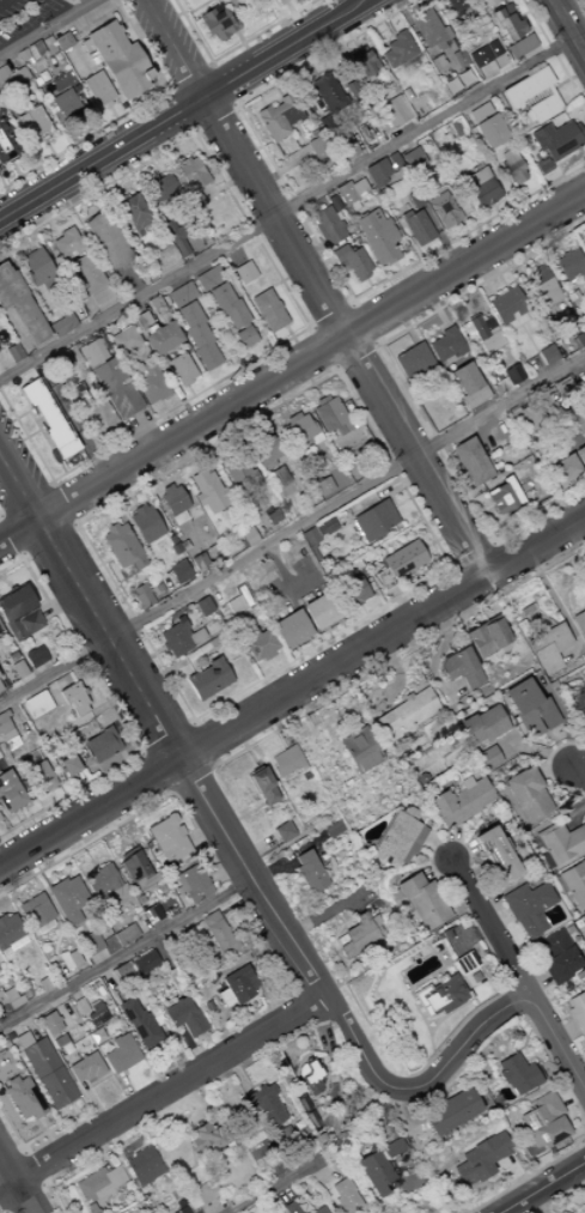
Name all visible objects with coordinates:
building: (68, 0)
building: (278, 1)
road: (554, 1)
road: (5, 2)
road: (282, 2)
building: (487, 2)
building: (455, 4)
road: (581, 4)
road: (584, 4)
building: (506, 8)
road: (401, 11)
parking lot: (23, 14)
building: (214, 23)
building: (506, 23)
road: (343, 26)
road: (386, 26)
building: (428, 26)
road: (49, 28)
road: (370, 28)
road: (567, 29)
road: (238, 37)
road: (336, 40)
building: (61, 41)
road: (353, 42)
building: (519, 47)
road: (171, 48)
road: (282, 48)
road: (230, 49)
building: (397, 49)
building: (33, 50)
road: (553, 54)
building: (20, 55)
building: (487, 60)
building: (118, 61)
building: (361, 61)
road: (209, 62)
road: (310, 71)
road: (185, 75)
road: (575, 75)
building: (11, 78)
road: (249, 83)
road: (559, 83)
building: (17, 87)
building: (95, 89)
building: (351, 89)
building: (327, 92)
building: (532, 95)
road: (24, 99)
road: (258, 99)
building: (105, 104)
building: (61, 107)
road: (177, 110)
building: (0, 113)
road: (111, 113)
building: (480, 113)
building: (391, 114)
building: (276, 116)
road: (213, 117)
road: (93, 119)
building: (32, 125)
road: (583, 127)
building: (456, 128)
building: (489, 131)
road: (167, 133)
building: (556, 139)
road: (264, 142)
building: (7, 145)
building: (316, 145)
building: (347, 147)
road: (177, 151)
road: (248, 152)
road: (99, 157)
building: (391, 159)
building: (412, 159)
road: (557, 162)
building: (512, 166)
road: (14, 169)
road: (281, 170)
building: (377, 172)
road: (106, 174)
building: (189, 174)
road: (552, 182)
road: (224, 184)
building: (481, 187)
building: (159, 189)
building: (351, 190)
road: (519, 190)
road: (62, 195)
building: (195, 201)
building: (414, 201)
building: (333, 202)
road: (292, 204)
building: (444, 208)
road: (494, 208)
road: (530, 208)
road: (39, 210)
building: (130, 211)
road: (73, 213)
building: (404, 214)
road: (14, 224)
building: (327, 225)
road: (504, 225)
road: (462, 226)
building: (418, 228)
road: (51, 229)
road: (310, 230)
building: (377, 237)
building: (173, 238)
building: (104, 239)
road: (523, 242)
road: (25, 243)
building: (65, 243)
road: (471, 243)
road: (559, 245)
road: (514, 248)
road: (418, 250)
road: (446, 250)
road: (506, 253)
building: (162, 257)
building: (352, 261)
road: (490, 262)
road: (396, 266)
road: (525, 266)
building: (571, 266)
road: (316, 267)
road: (477, 269)
building: (39, 272)
building: (244, 272)
road: (292, 275)
building: (208, 278)
building: (90, 279)
road: (501, 280)
road: (130, 281)
road: (368, 283)
road: (406, 283)
road: (452, 285)
building: (542, 285)
road: (195, 287)
road: (488, 289)
building: (181, 295)
building: (577, 303)
building: (154, 304)
road: (295, 305)
building: (506, 305)
building: (19, 307)
road: (280, 307)
road: (434, 307)
road: (465, 307)
road: (87, 310)
building: (267, 310)
road: (382, 311)
building: (232, 314)
road: (330, 314)
road: (218, 317)
road: (116, 321)
building: (516, 321)
building: (140, 322)
road: (211, 322)
road: (365, 322)
building: (61, 323)
road: (403, 323)
building: (467, 329)
road: (97, 330)
road: (18, 334)
building: (485, 334)
building: (197, 335)
road: (343, 335)
building: (159, 338)
building: (580, 338)
building: (123, 339)
building: (446, 346)
road: (475, 346)
road: (532, 346)
road: (258, 347)
road: (298, 348)
road: (321, 348)
building: (95, 350)
building: (495, 351)
building: (13, 352)
building: (547, 354)
road: (236, 357)
road: (357, 358)
building: (61, 360)
building: (413, 360)
road: (581, 362)
road: (5, 366)
building: (181, 369)
road: (536, 369)
road: (334, 371)
road: (305, 372)
building: (512, 374)
building: (464, 378)
building: (148, 381)
road: (401, 384)
building: (562, 386)
building: (116, 387)
road: (189, 390)
road: (275, 390)
road: (316, 390)
road: (179, 396)
building: (475, 396)
building: (321, 400)
road: (164, 406)
road: (286, 408)
building: (44, 412)
road: (22, 414)
building: (331, 417)
building: (291, 418)
road: (7, 421)
road: (173, 421)
road: (35, 424)
building: (581, 429)
building: (301, 432)
road: (83, 438)
road: (162, 443)
road: (13, 444)
road: (185, 444)
building: (63, 449)
building: (262, 449)
building: (580, 455)
building: (470, 462)
road: (578, 462)
road: (196, 463)
road: (152, 465)
building: (268, 466)
road: (61, 467)
building: (561, 471)
building: (238, 472)
road: (458, 474)
building: (278, 478)
road: (162, 480)
road: (462, 480)
road: (91, 485)
building: (323, 486)
building: (285, 490)
building: (208, 491)
road: (383, 491)
road: (420, 491)
road: (388, 493)
road: (25, 497)
building: (504, 497)
road: (95, 499)
building: (172, 499)
road: (65, 502)
road: (392, 503)
road: (400, 503)
road: (293, 504)
road: (485, 509)
building: (270, 516)
building: (178, 517)
road: (105, 518)
building: (373, 521)
building: (145, 523)
building: (327, 526)
road: (353, 527)
road: (292, 528)
road: (18, 530)
building: (318, 530)
road: (445, 534)
building: (248, 536)
road: (328, 536)
building: (309, 538)
road: (10, 541)
road: (49, 542)
road: (574, 544)
building: (120, 545)
road: (427, 545)
road: (420, 547)
building: (215, 553)
road: (470, 553)
building: (401, 559)
road: (105, 560)
building: (199, 563)
road: (279, 568)
road: (86, 572)
building: (178, 572)
building: (382, 580)
road: (5, 583)
road: (288, 593)
building: (351, 593)
building: (141, 596)
road: (59, 602)
road: (400, 604)
building: (202, 606)
building: (236, 606)
building: (321, 609)
road: (362, 611)
building: (19, 613)
road: (341, 624)
building: (579, 624)
road: (372, 627)
building: (290, 629)
building: (1, 632)
road: (327, 632)
building: (195, 636)
road: (380, 637)
building: (487, 637)
building: (175, 638)
building: (244, 639)
road: (351, 641)
road: (309, 643)
building: (260, 647)
building: (547, 648)
road: (337, 649)
road: (295, 650)
road: (157, 651)
road: (328, 654)
building: (36, 656)
road: (5, 662)
road: (139, 662)
road: (178, 663)
road: (312, 663)
road: (272, 665)
building: (18, 667)
building: (459, 668)
road: (108, 675)
building: (208, 679)
road: (26, 681)
road: (89, 687)
building: (54, 690)
building: (73, 699)
building: (581, 699)
building: (37, 704)
building: (529, 709)
road: (12, 714)
road: (112, 714)
building: (404, 714)
road: (87, 715)
road: (106, 723)
building: (481, 726)
building: (5, 727)
road: (164, 736)
building: (103, 744)
building: (359, 750)
road: (112, 753)
building: (486, 758)
building: (285, 762)
building: (50, 764)
building: (71, 765)
road: (577, 772)
building: (39, 777)
road: (191, 786)
building: (262, 787)
road: (60, 792)
road: (79, 794)
building: (526, 795)
building: (11, 797)
road: (25, 800)
building: (459, 801)
road: (69, 808)
road: (87, 811)
road: (8, 817)
building: (0, 818)
road: (33, 829)
building: (282, 831)
road: (24, 835)
building: (398, 837)
building: (167, 839)
building: (561, 843)
building: (494, 854)
road: (1, 860)
building: (136, 871)
building: (307, 872)
building: (190, 883)
building: (574, 883)
building: (104, 884)
building: (67, 900)
building: (421, 903)
building: (526, 909)
building: (35, 914)
building: (217, 933)
building: (10, 934)
building: (124, 934)
building: (359, 935)
building: (90, 944)
road: (126, 951)
building: (556, 957)
building: (68, 959)
building: (145, 963)
building: (463, 963)
building: (120, 975)
road: (516, 975)
building: (236, 985)
building: (8, 996)
building: (438, 996)
building: (577, 1011)
building: (95, 1015)
building: (183, 1017)
building: (136, 1019)
building: (49, 1023)
road: (468, 1047)
building: (120, 1054)
building: (85, 1069)
building: (45, 1071)
building: (517, 1074)
building: (311, 1079)
road: (164, 1094)
building: (22, 1098)
building: (263, 1108)
building: (449, 1112)
building: (543, 1121)
building: (205, 1138)
building: (480, 1159)
building: (142, 1166)
building: (372, 1172)
road: (16, 1184)
building: (98, 1184)
road: (279, 1187)
road: (546, 1189)
building: (203, 1193)
building: (345, 1196)
building: (290, 1208)
building: (181, 1211)
building: (318, 1211)
building: (129, 1212)

